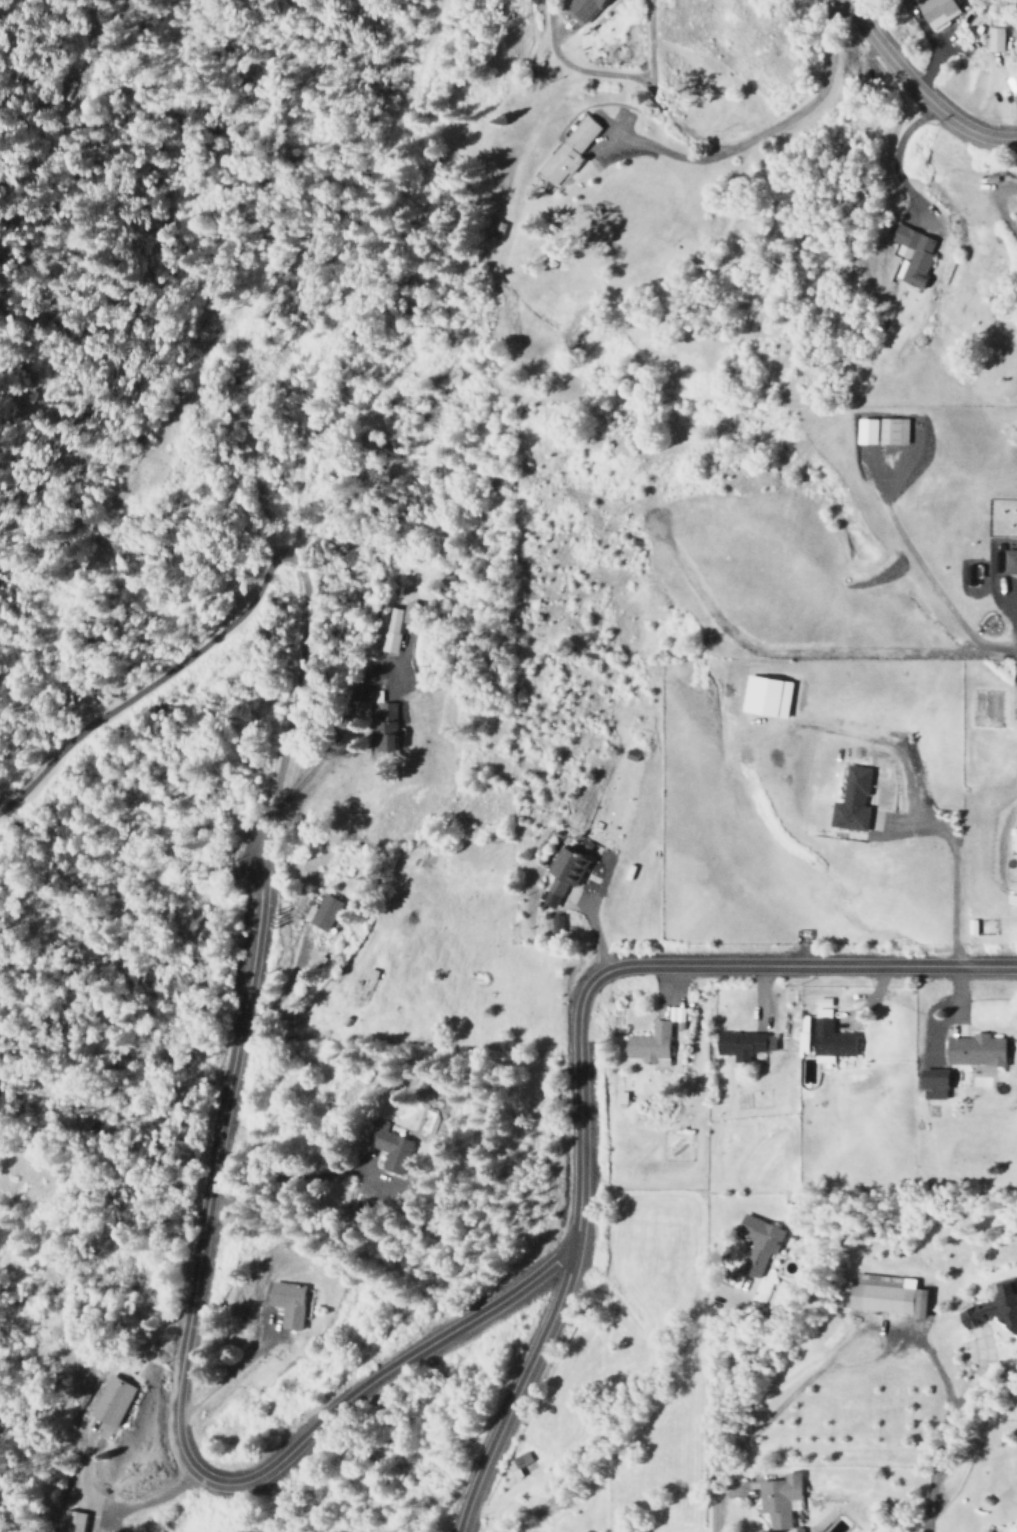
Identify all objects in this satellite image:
building: (580, 7)
building: (935, 12)
road: (101, 31)
building: (994, 39)
road: (613, 75)
road: (918, 86)
road: (772, 128)
building: (565, 152)
road: (664, 153)
building: (911, 255)
road: (345, 276)
building: (864, 431)
building: (891, 431)
building: (1008, 561)
road: (917, 567)
building: (970, 575)
building: (396, 625)
road: (1013, 625)
road: (801, 654)
road: (149, 685)
building: (763, 697)
road: (290, 710)
building: (385, 728)
building: (850, 801)
building: (561, 875)
building: (320, 913)
building: (556, 925)
road: (668, 965)
building: (828, 1038)
building: (648, 1044)
building: (742, 1045)
building: (973, 1050)
building: (930, 1079)
building: (387, 1148)
building: (756, 1243)
building: (882, 1295)
building: (285, 1303)
building: (993, 1309)
road: (826, 1362)
road: (177, 1391)
road: (516, 1391)
building: (110, 1401)
road: (715, 1420)
building: (515, 1463)
building: (776, 1498)
building: (71, 1521)

